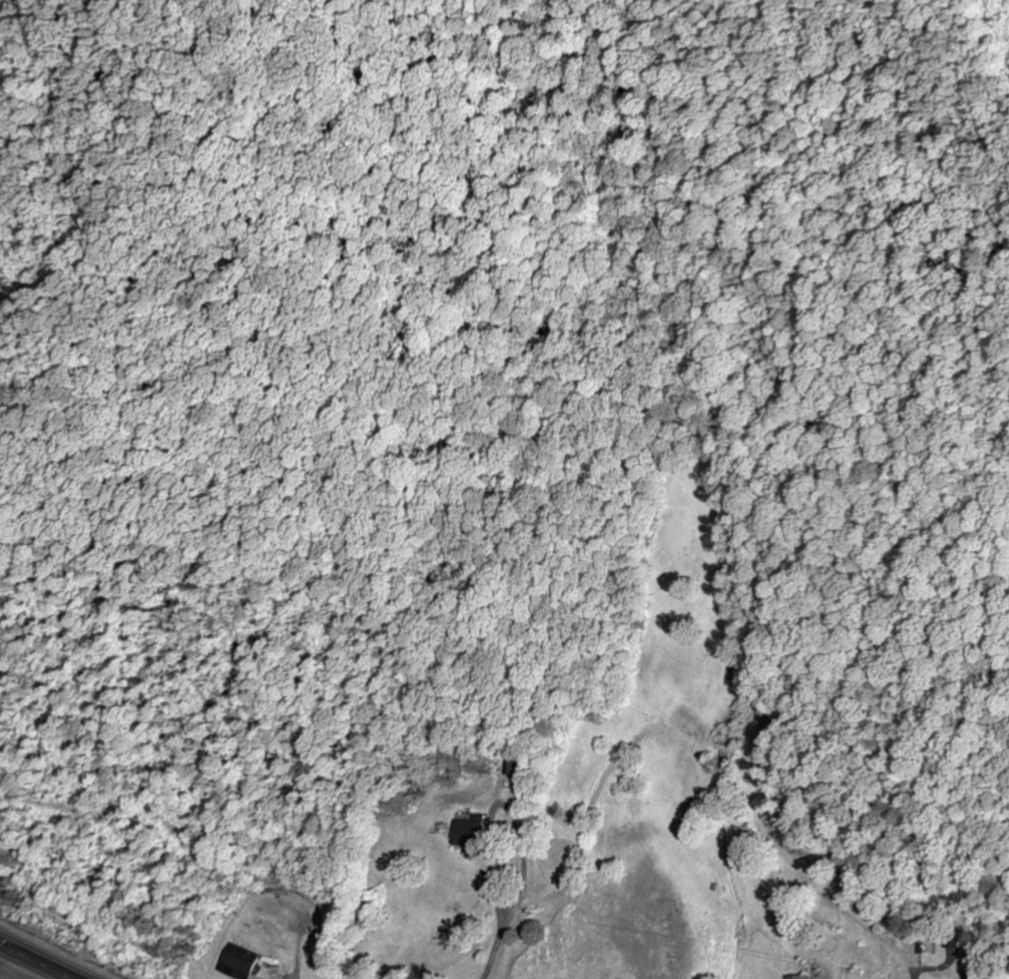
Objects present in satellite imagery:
building: (476, 833)
road: (37, 961)
building: (798, 978)

